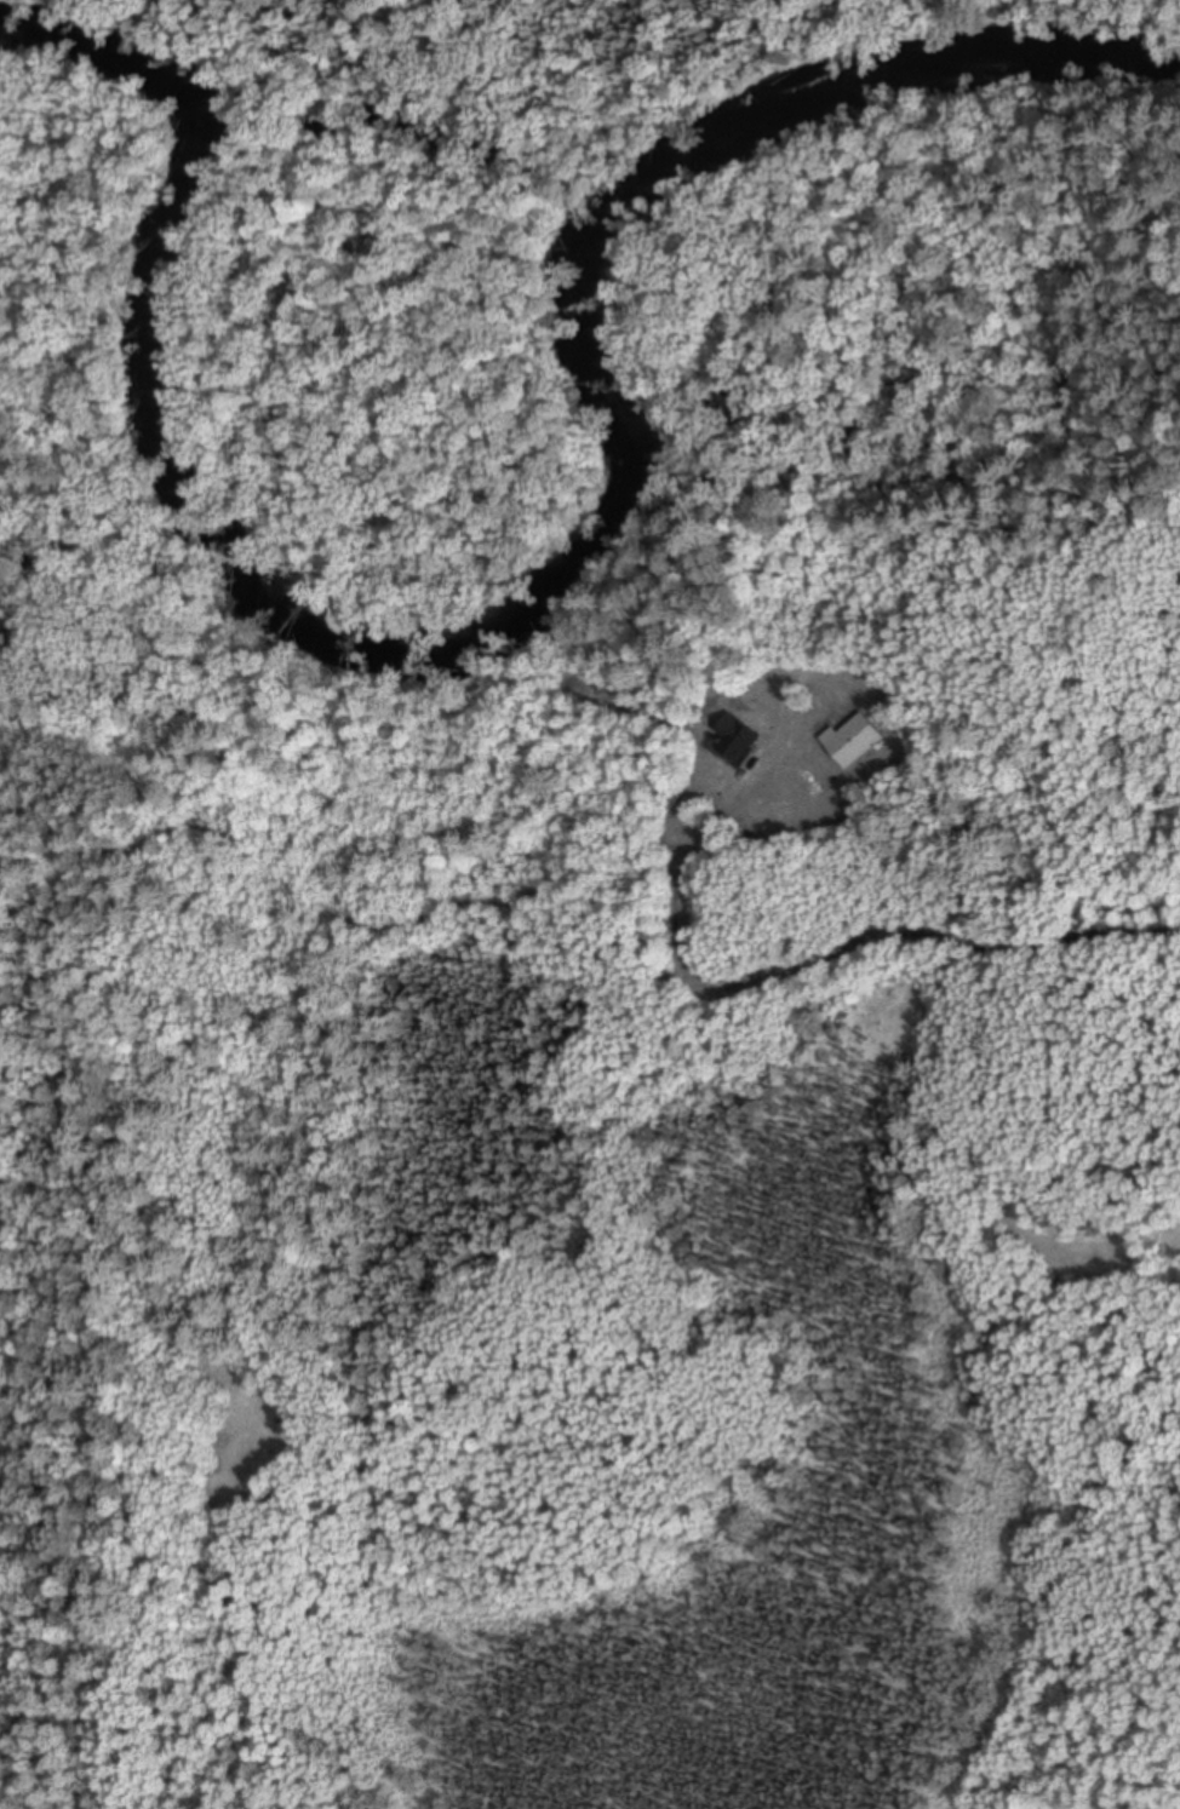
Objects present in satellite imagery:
river: (544, 595)
building: (735, 742)
building: (850, 745)

